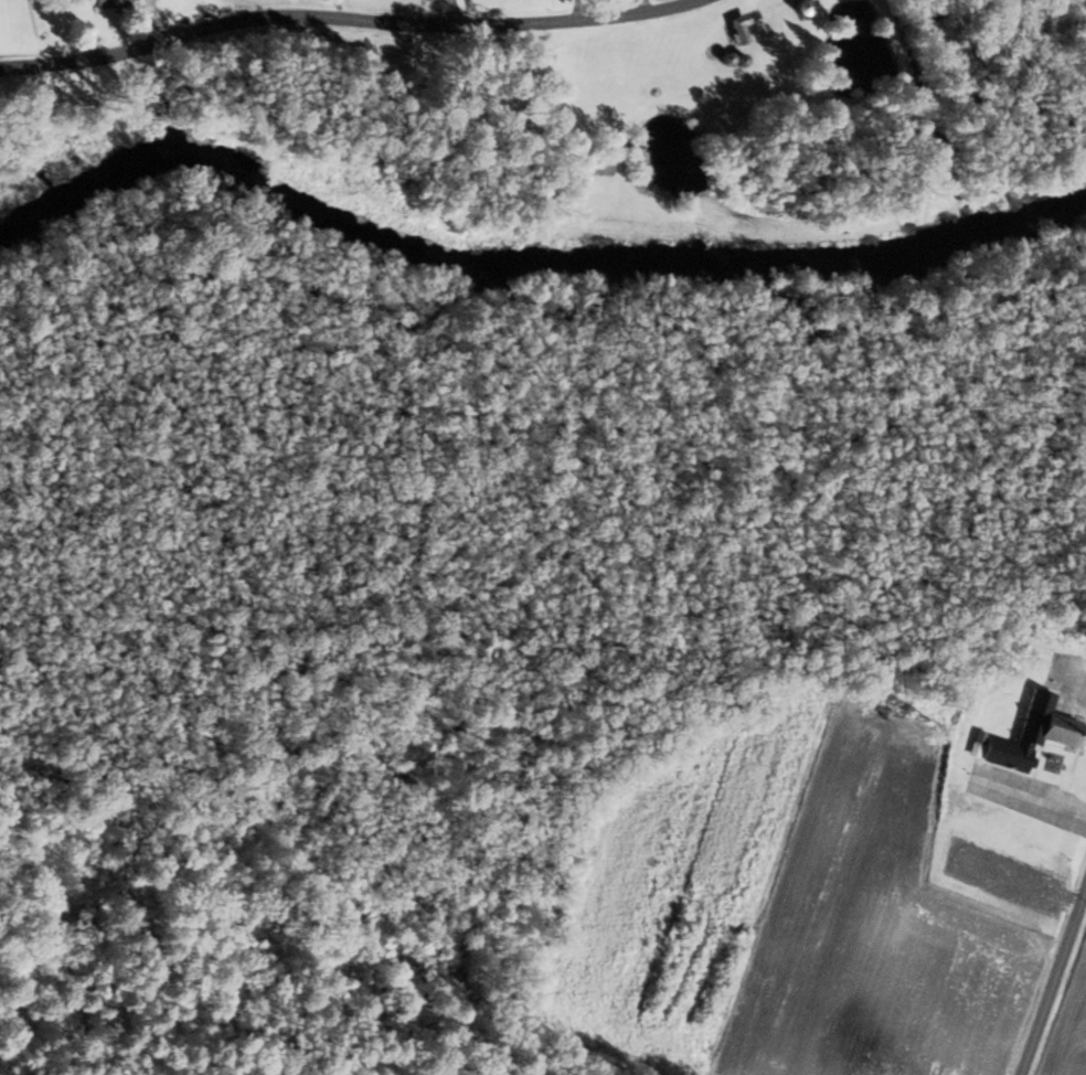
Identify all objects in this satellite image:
building: (116, 3)
building: (795, 7)
road: (445, 12)
road: (358, 29)
building: (600, 160)
building: (1026, 734)
road: (1029, 797)
road: (1055, 983)
building: (923, 1073)

